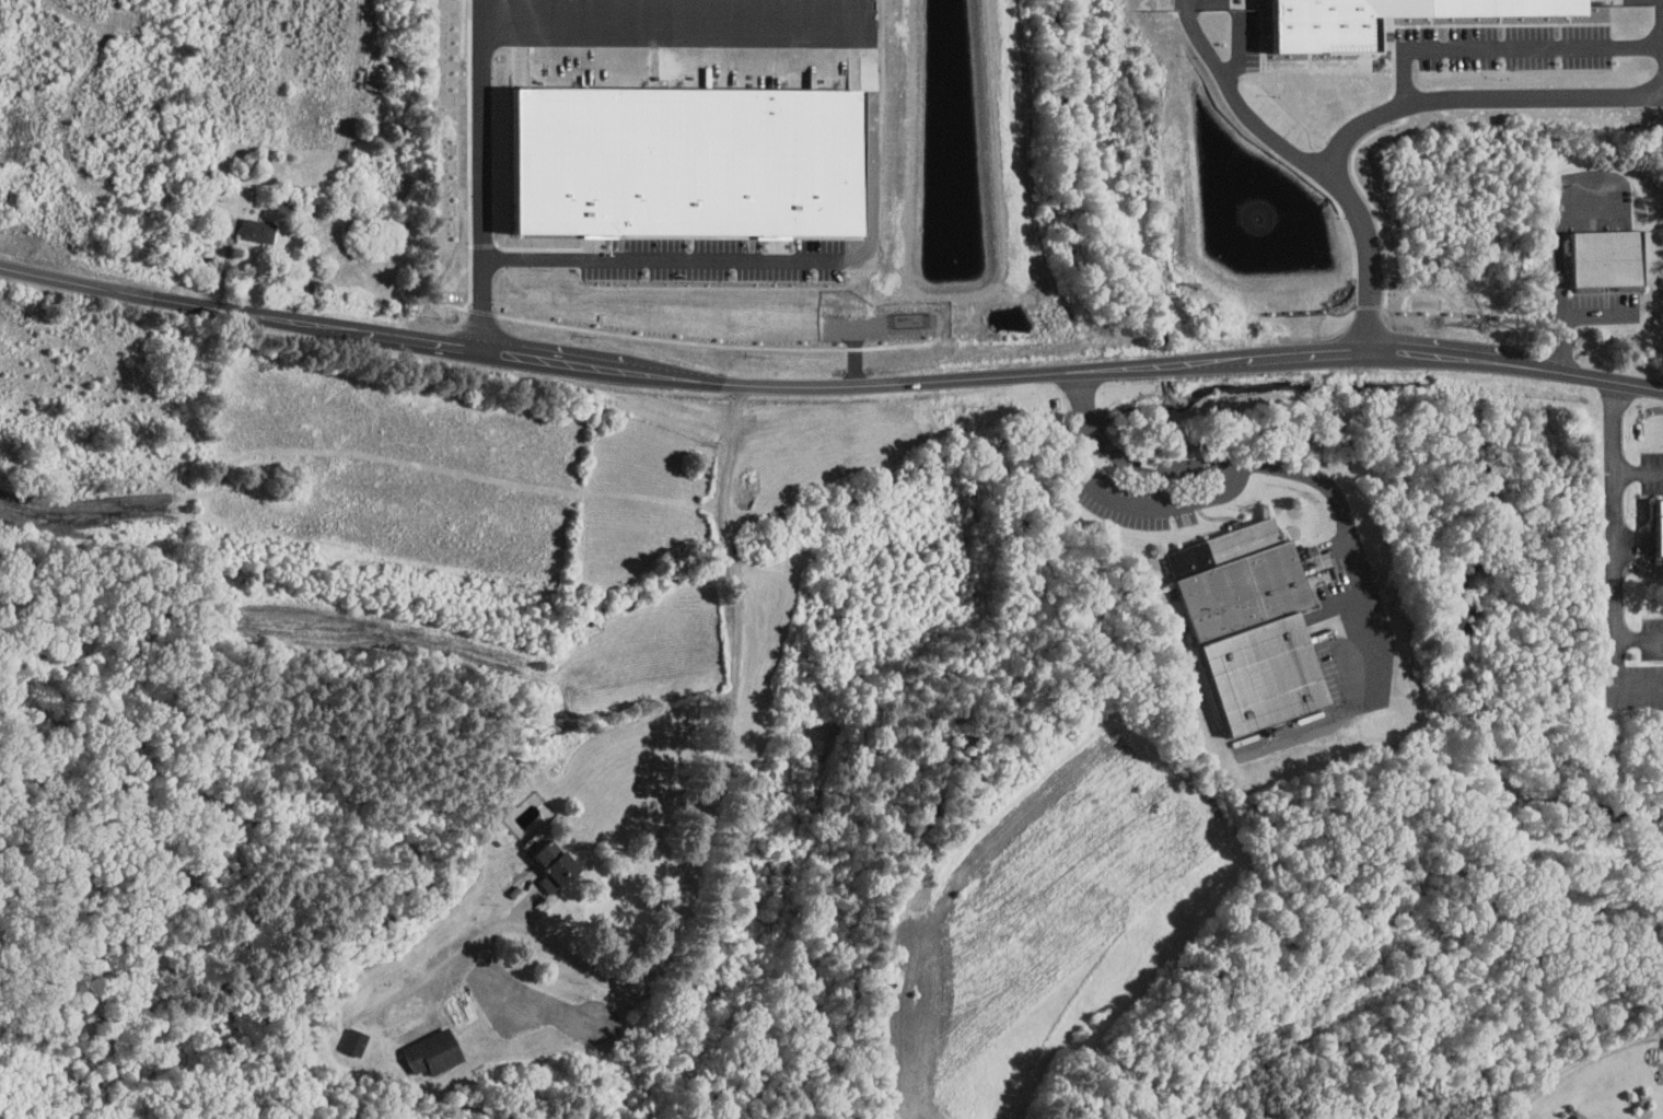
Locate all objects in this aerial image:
road: (1185, 10)
road: (676, 15)
building: (1379, 19)
road: (1236, 48)
road: (1505, 48)
road: (1482, 96)
road: (1659, 96)
building: (568, 159)
road: (1319, 166)
road: (481, 174)
building: (792, 182)
building: (247, 224)
building: (1607, 258)
road: (791, 260)
road: (1570, 315)
road: (828, 383)
road: (1616, 447)
road: (1258, 463)
road: (1173, 502)
building: (1660, 526)
building: (1251, 625)
road: (701, 820)
building: (555, 862)
building: (354, 1042)
building: (433, 1052)
road: (1575, 1060)

